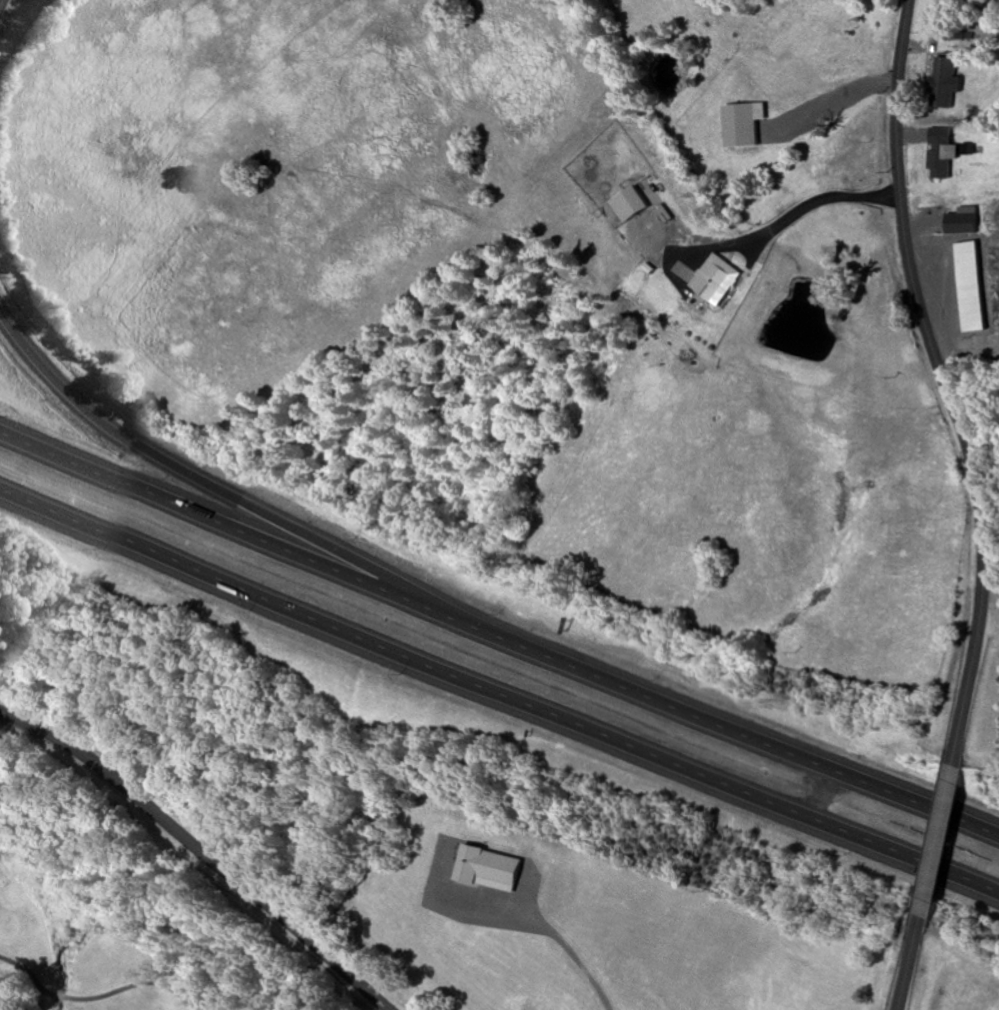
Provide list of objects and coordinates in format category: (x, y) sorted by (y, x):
building: (947, 78)
road: (949, 85)
building: (940, 154)
building: (964, 222)
building: (710, 281)
building: (973, 288)
road: (945, 384)
road: (224, 497)
road: (241, 533)
road: (499, 695)
road: (741, 734)
road: (932, 843)
road: (201, 850)
park: (109, 931)
park: (109, 931)
road: (906, 964)

